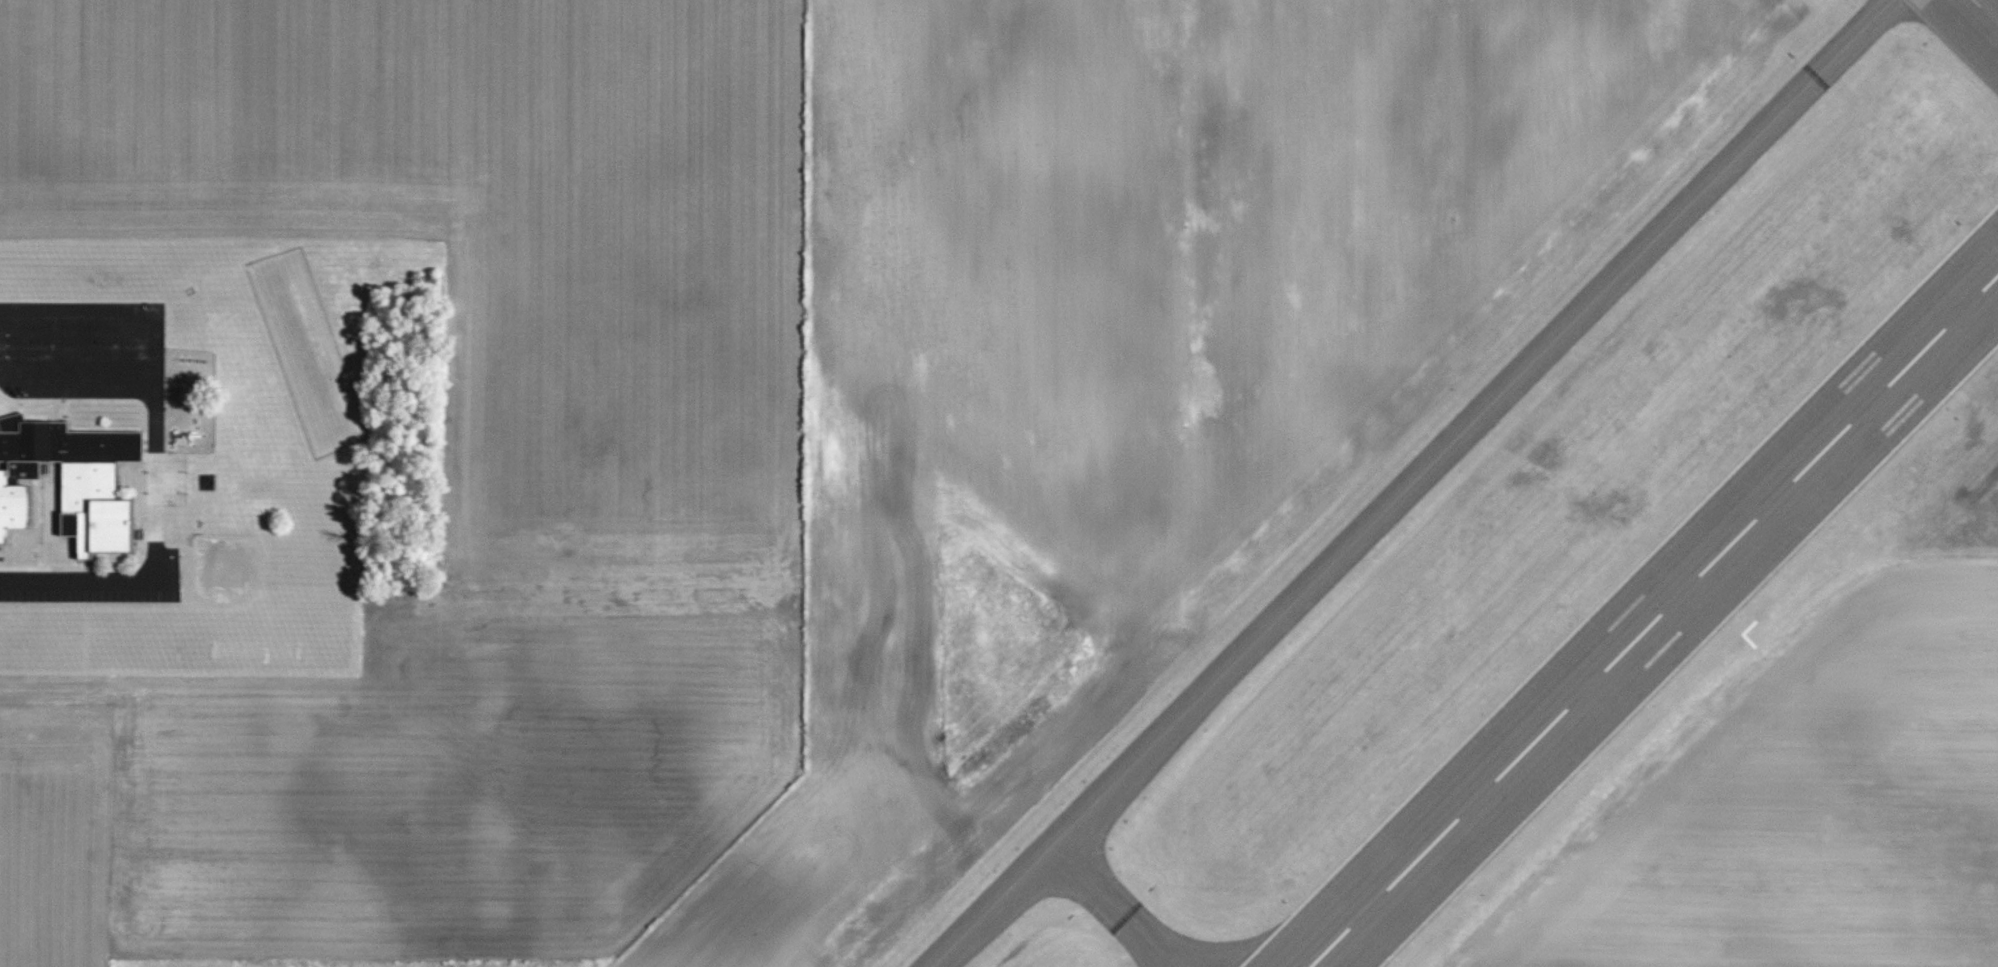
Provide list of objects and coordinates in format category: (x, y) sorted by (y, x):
airport runway: (1984, 13)
building: (12, 422)
road: (135, 434)
building: (71, 482)
airport taxiway: (1414, 483)
airport: (1393, 490)
airport runway: (1655, 621)
airport taxiway: (1115, 906)

